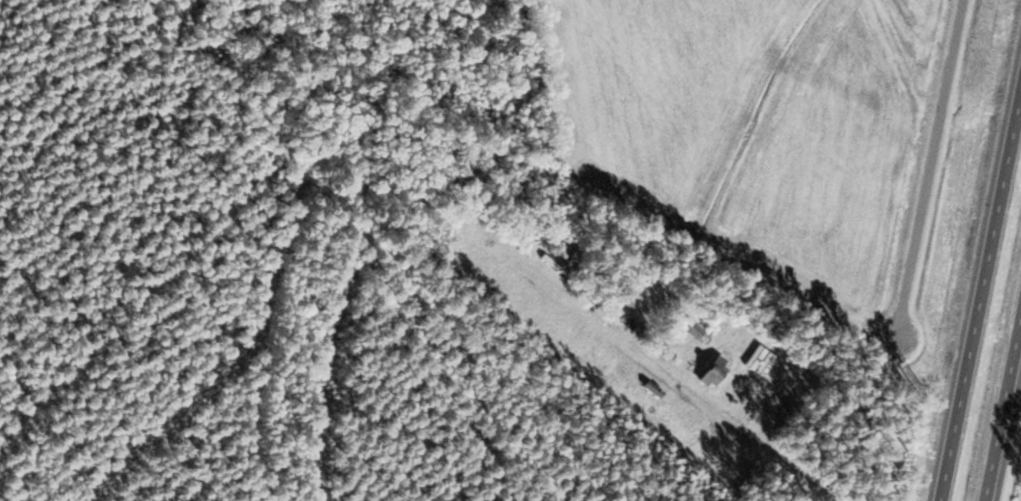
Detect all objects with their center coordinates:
road: (930, 168)
road: (980, 296)
building: (691, 330)
road: (1002, 409)

